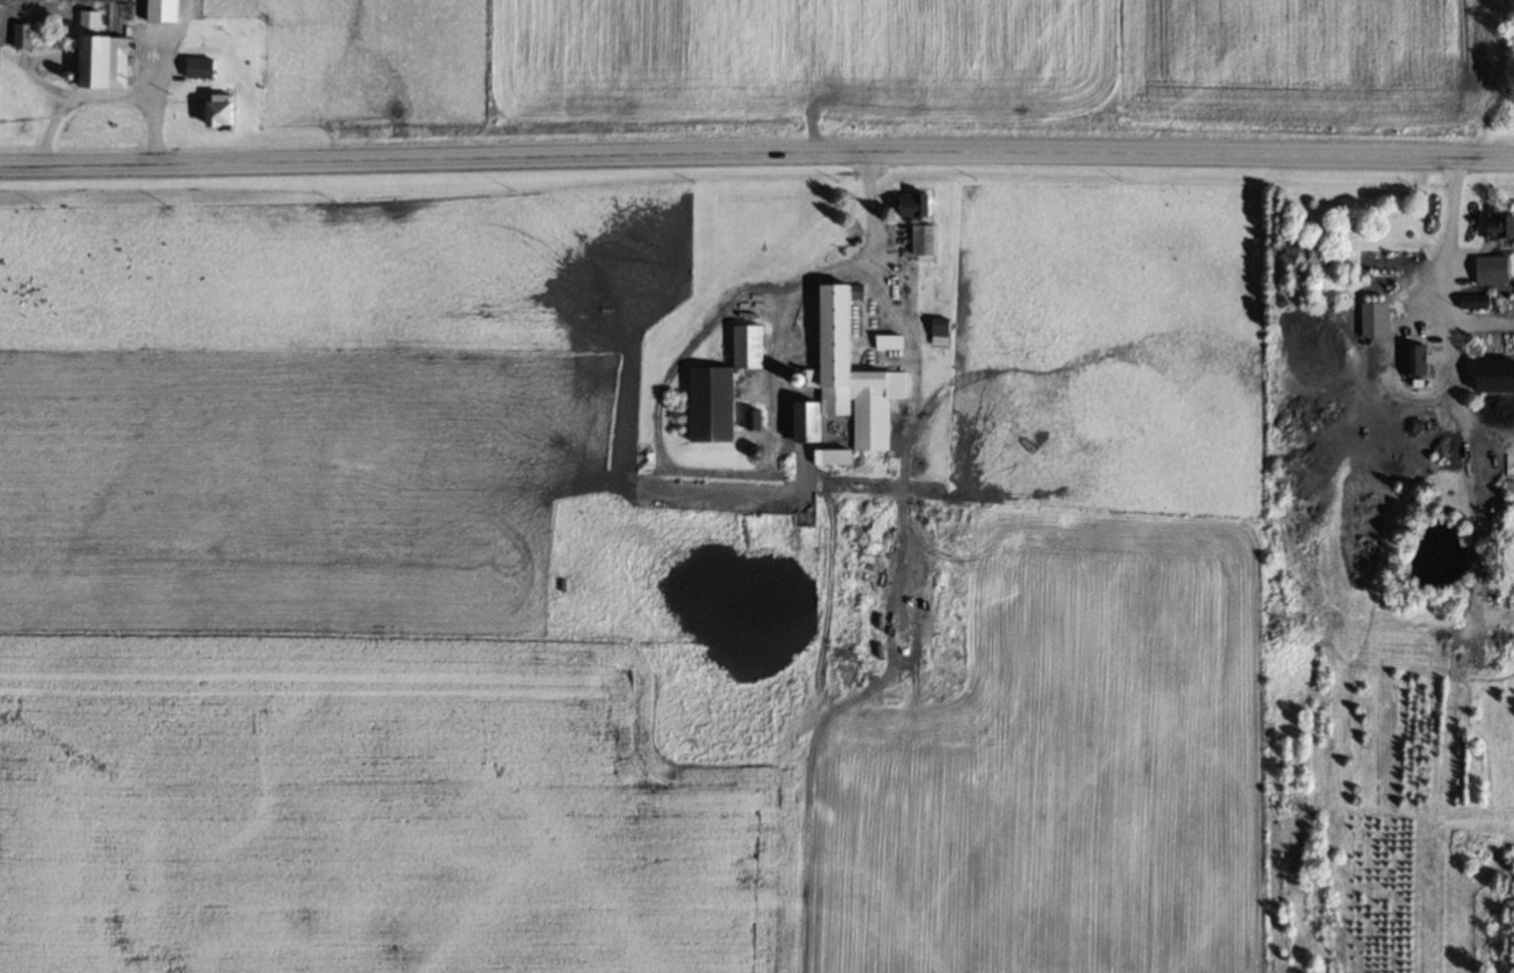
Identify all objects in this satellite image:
building: (161, 10)
building: (21, 34)
building: (107, 61)
crop: (858, 63)
building: (199, 67)
building: (220, 109)
road: (756, 152)
building: (914, 205)
building: (1500, 227)
building: (922, 239)
building: (1488, 264)
road: (838, 266)
building: (1475, 301)
building: (1374, 318)
building: (939, 329)
building: (888, 340)
building: (1418, 359)
building: (846, 378)
building: (721, 386)
building: (752, 417)
building: (830, 454)
building: (867, 547)
crop: (681, 620)

